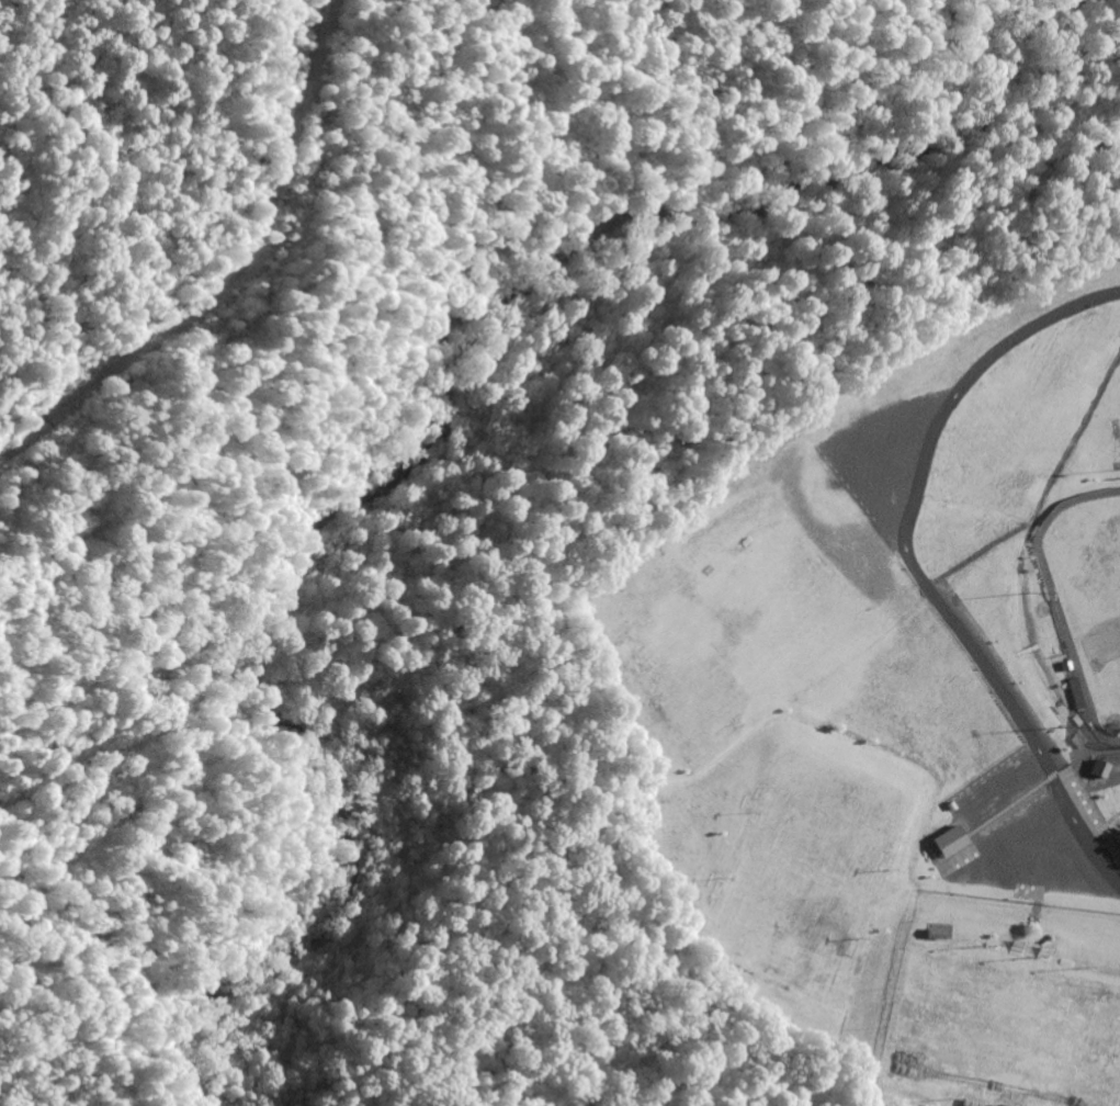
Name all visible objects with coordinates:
parking lot: (864, 548)
park: (777, 565)
road: (912, 565)
park: (1086, 601)
park: (716, 609)
park: (810, 617)
park: (744, 664)
park: (938, 711)
building: (949, 839)
parking lot: (1039, 860)
park: (800, 872)
park: (1002, 1031)

